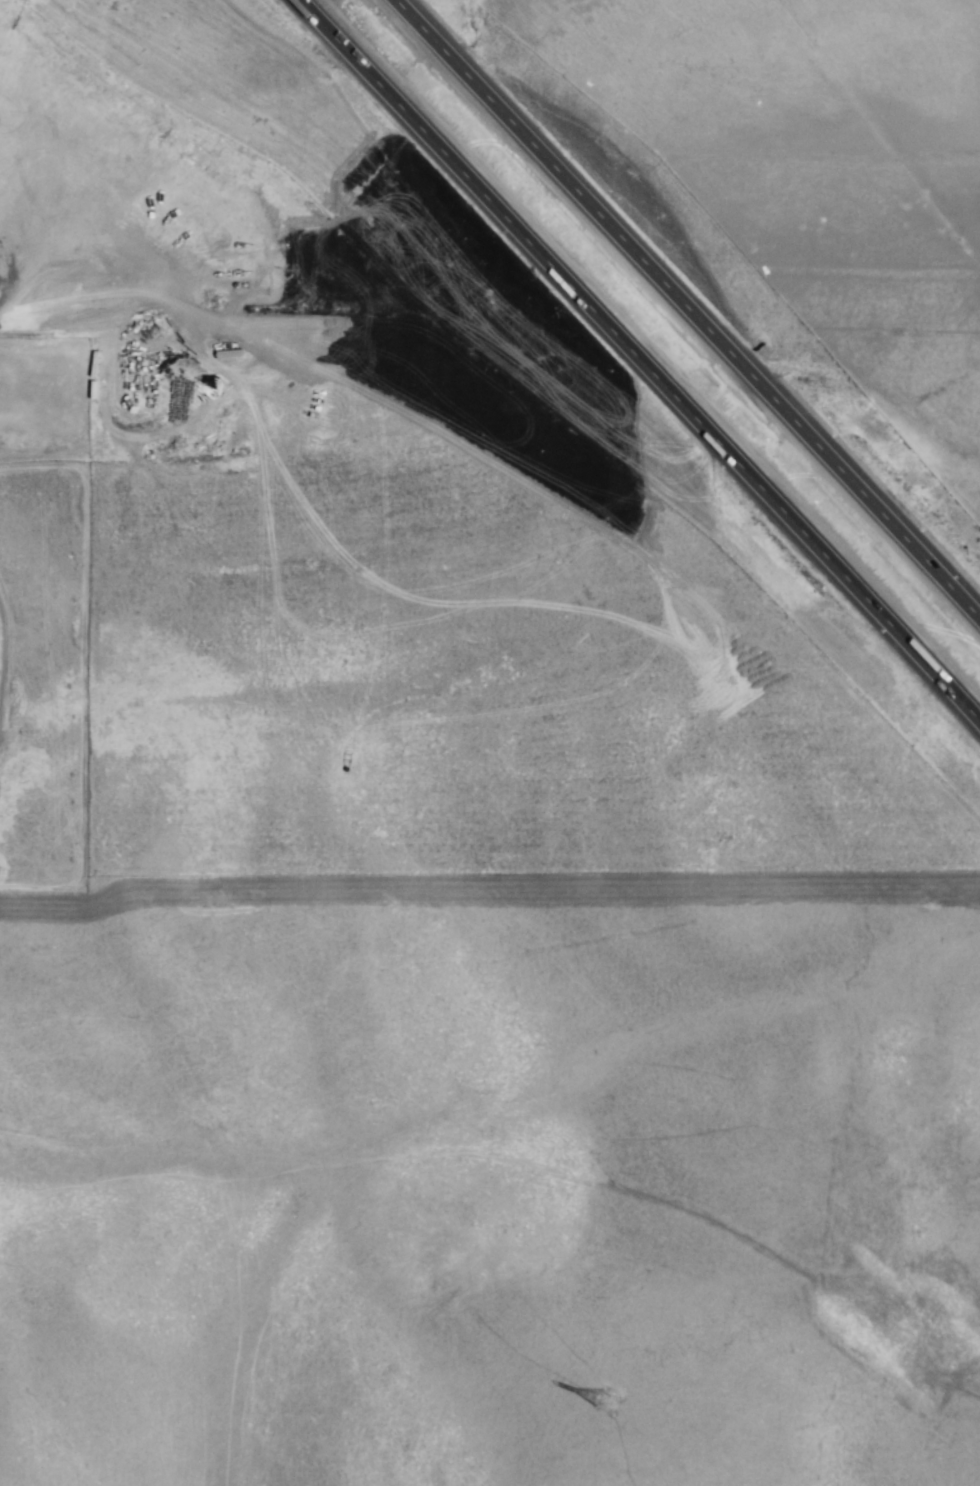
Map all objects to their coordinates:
road: (688, 309)
road: (640, 361)
power tower: (608, 1402)

